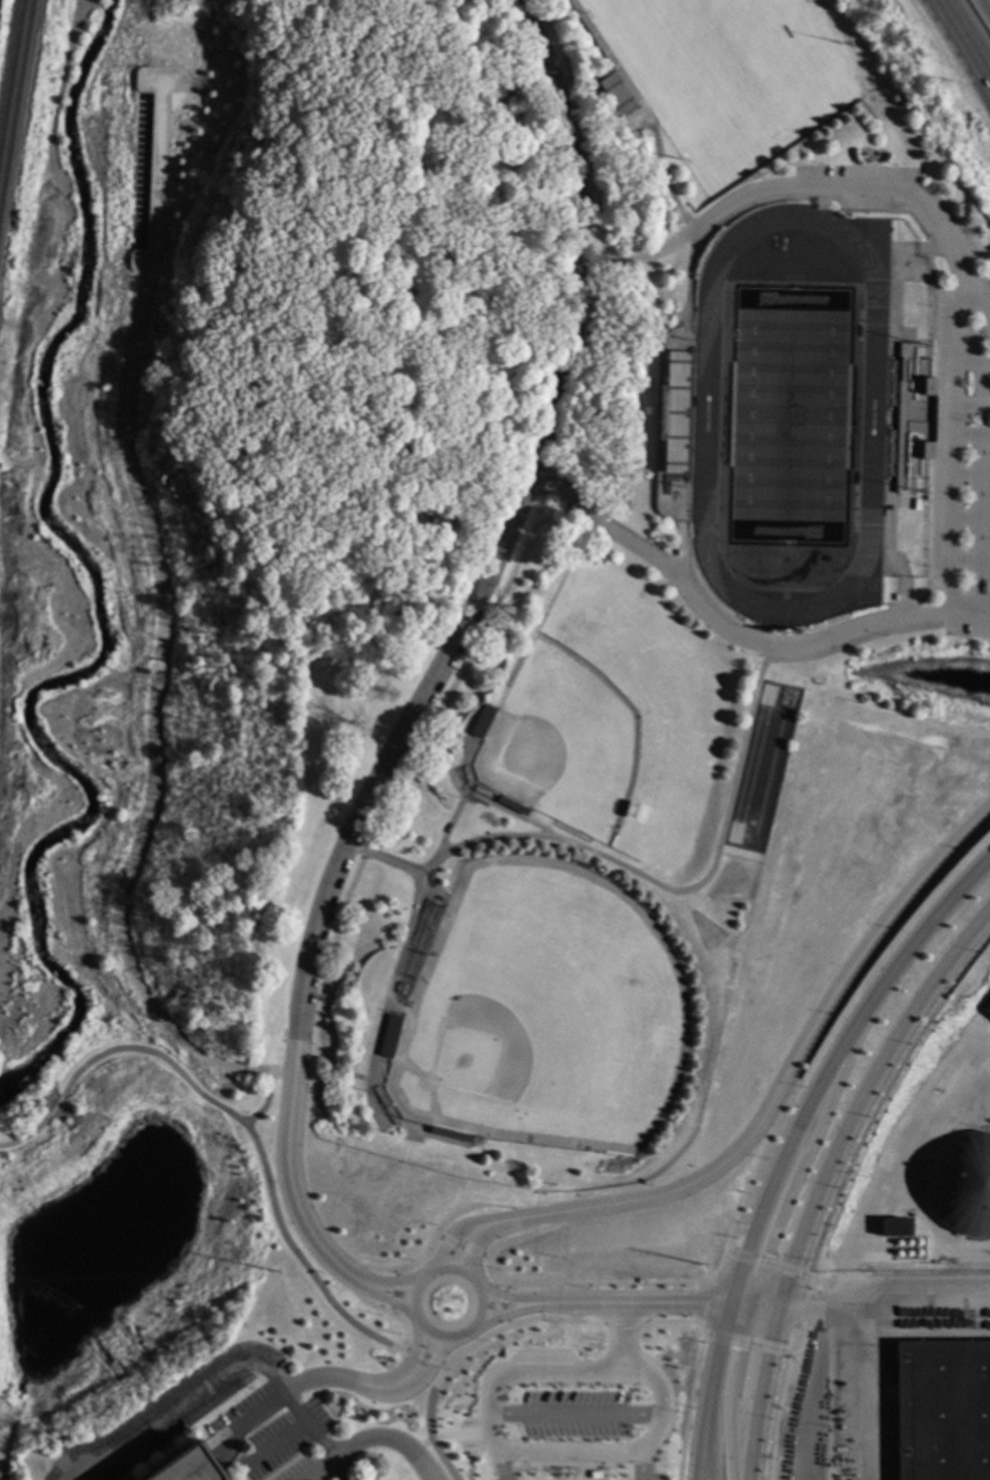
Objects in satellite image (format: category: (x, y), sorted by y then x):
road: (288, 15)
road: (969, 31)
road: (954, 60)
road: (260, 65)
park: (728, 70)
railway: (12, 76)
building: (614, 94)
road: (644, 107)
railway: (17, 110)
building: (140, 168)
road: (452, 186)
road: (879, 186)
road: (641, 258)
road: (892, 264)
road: (688, 285)
road: (274, 358)
road: (972, 363)
building: (676, 367)
road: (368, 385)
parking lot: (943, 388)
track: (705, 403)
road: (972, 405)
building: (659, 415)
park: (789, 415)
building: (911, 417)
stadium: (796, 418)
road: (972, 433)
road: (953, 451)
road: (971, 474)
road: (929, 513)
road: (407, 515)
road: (970, 516)
road: (606, 531)
park: (235, 538)
park: (235, 538)
road: (682, 542)
road: (379, 544)
road: (500, 548)
road: (970, 559)
road: (887, 566)
road: (969, 602)
road: (162, 615)
road: (306, 620)
road: (859, 640)
road: (826, 642)
building: (145, 673)
building: (481, 722)
park: (605, 724)
park: (761, 767)
road: (500, 807)
road: (385, 859)
park: (727, 883)
road: (680, 890)
park: (704, 931)
road: (395, 973)
building: (987, 1010)
park: (543, 1012)
building: (388, 1037)
road: (154, 1054)
road: (830, 1063)
road: (784, 1074)
road: (862, 1094)
road: (789, 1102)
road: (798, 1174)
building: (959, 1185)
silo: (959, 1185)
road: (290, 1189)
road: (837, 1189)
road: (485, 1206)
road: (457, 1227)
building: (889, 1228)
road: (527, 1236)
road: (476, 1242)
road: (482, 1255)
road: (767, 1263)
power tower: (699, 1264)
road: (367, 1268)
power tower: (272, 1273)
road: (309, 1273)
road: (428, 1274)
road: (388, 1287)
road: (397, 1293)
road: (884, 1293)
road: (384, 1298)
road: (361, 1301)
road: (514, 1301)
road: (584, 1302)
road: (710, 1303)
road: (569, 1304)
road: (602, 1304)
road: (675, 1304)
road: (755, 1304)
road: (501, 1305)
road: (512, 1312)
road: (664, 1321)
road: (588, 1323)
road: (623, 1323)
road: (403, 1328)
road: (503, 1328)
road: (620, 1340)
road: (745, 1343)
road: (415, 1353)
road: (717, 1359)
road: (431, 1366)
road: (219, 1380)
road: (344, 1380)
road: (733, 1389)
road: (875, 1389)
road: (760, 1391)
road: (691, 1394)
road: (428, 1401)
building: (942, 1409)
parking lot: (573, 1415)
road: (576, 1415)
road: (246, 1417)
road: (388, 1436)
road: (448, 1436)
road: (279, 1444)
road: (707, 1447)
road: (528, 1454)
road: (443, 1460)
building: (185, 1467)
road: (500, 1467)
road: (642, 1467)
road: (1, 1470)
road: (317, 1470)
parking lot: (647, 1477)
parking lot: (514, 1479)

